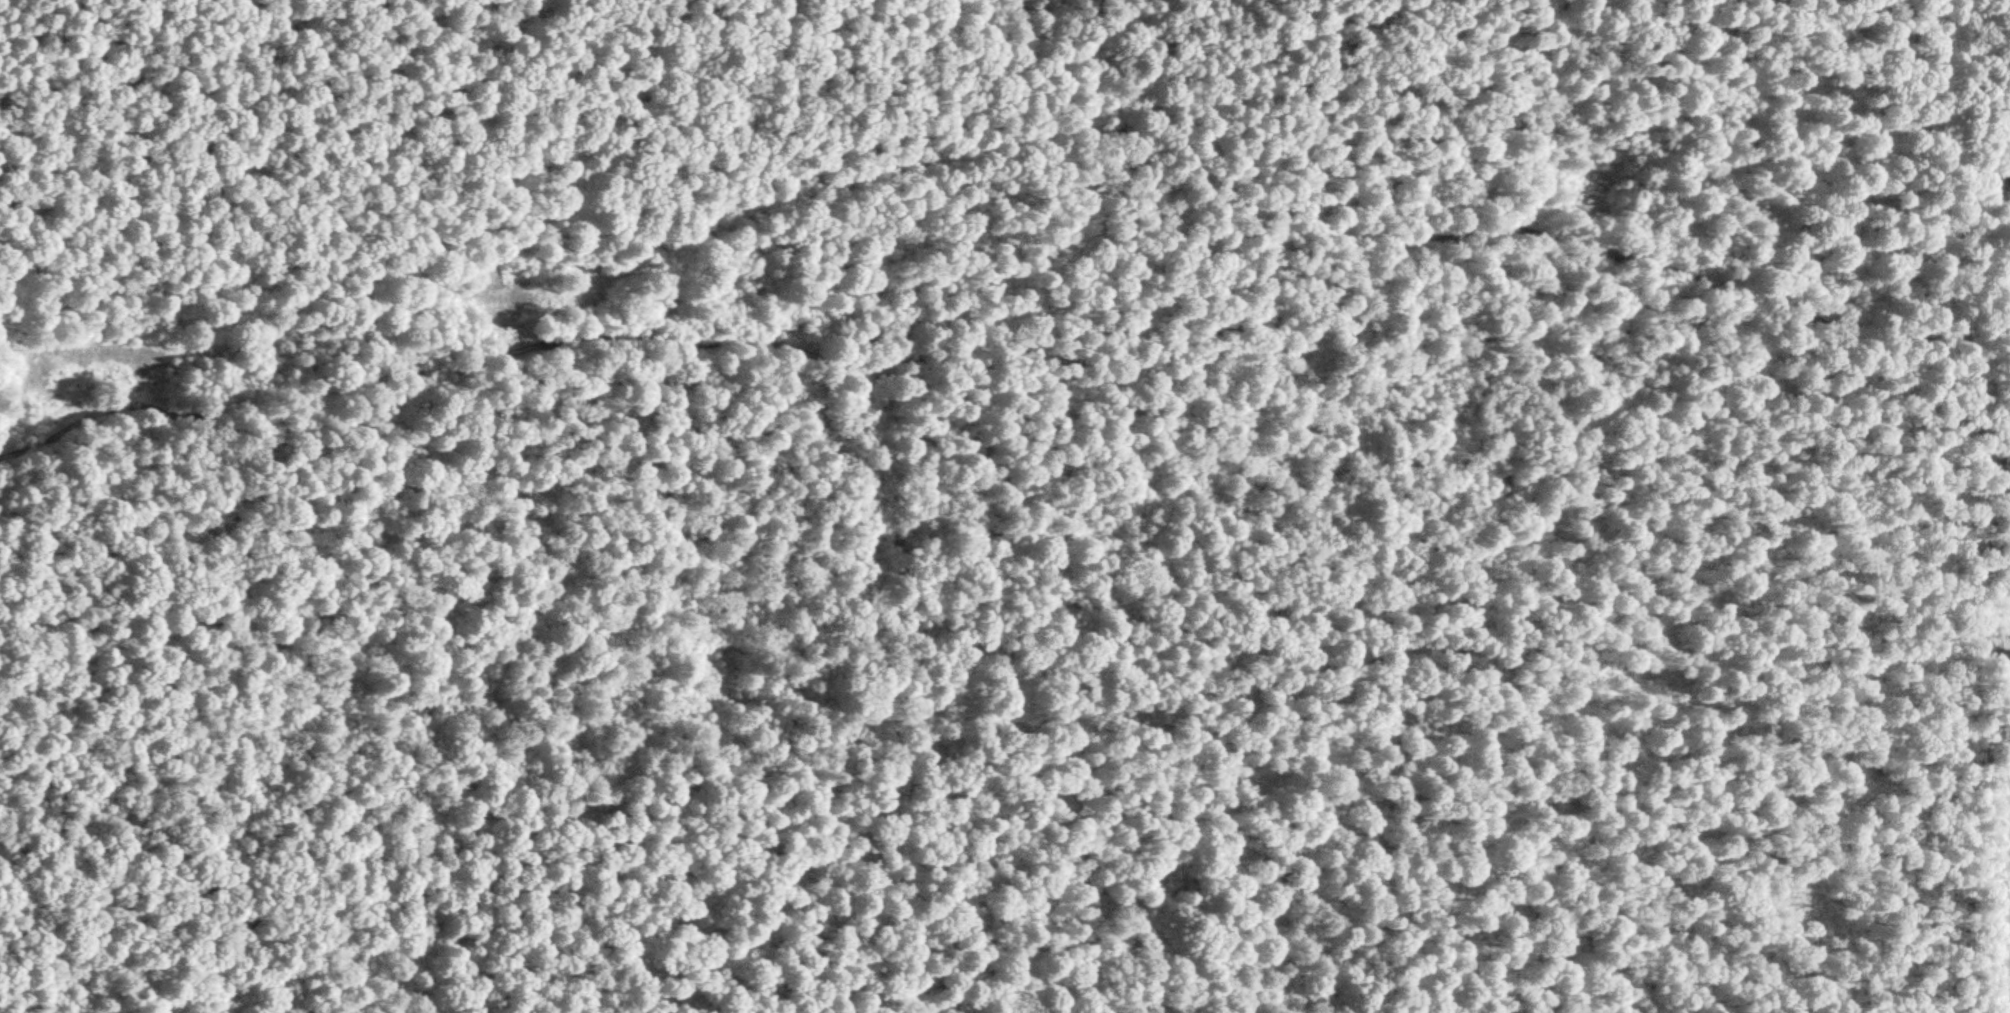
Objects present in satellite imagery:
road: (811, 345)
road: (452, 351)
road: (1992, 690)

